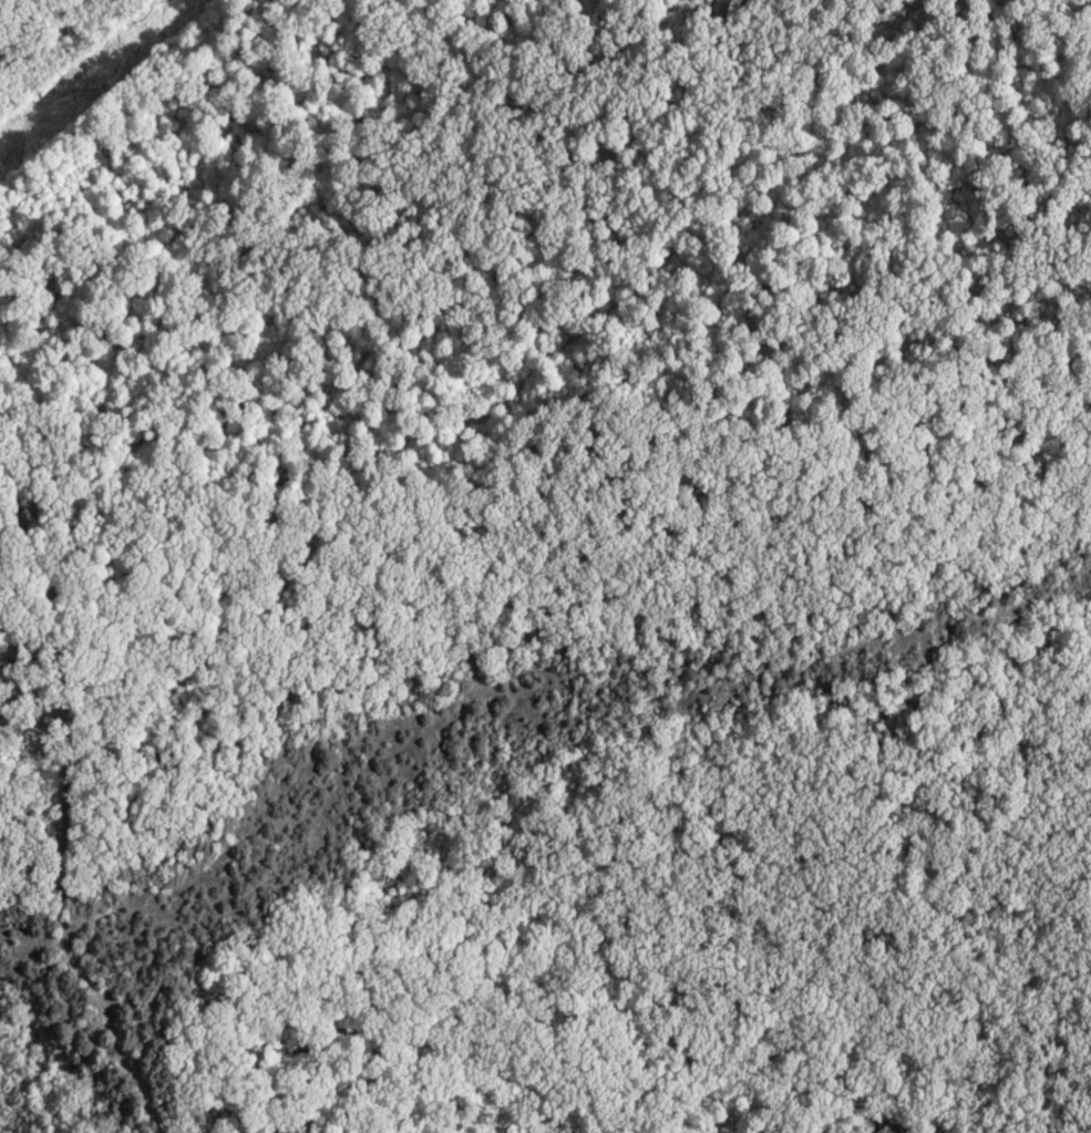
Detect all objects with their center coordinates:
road: (32, 632)
road: (32, 666)
road: (59, 904)

